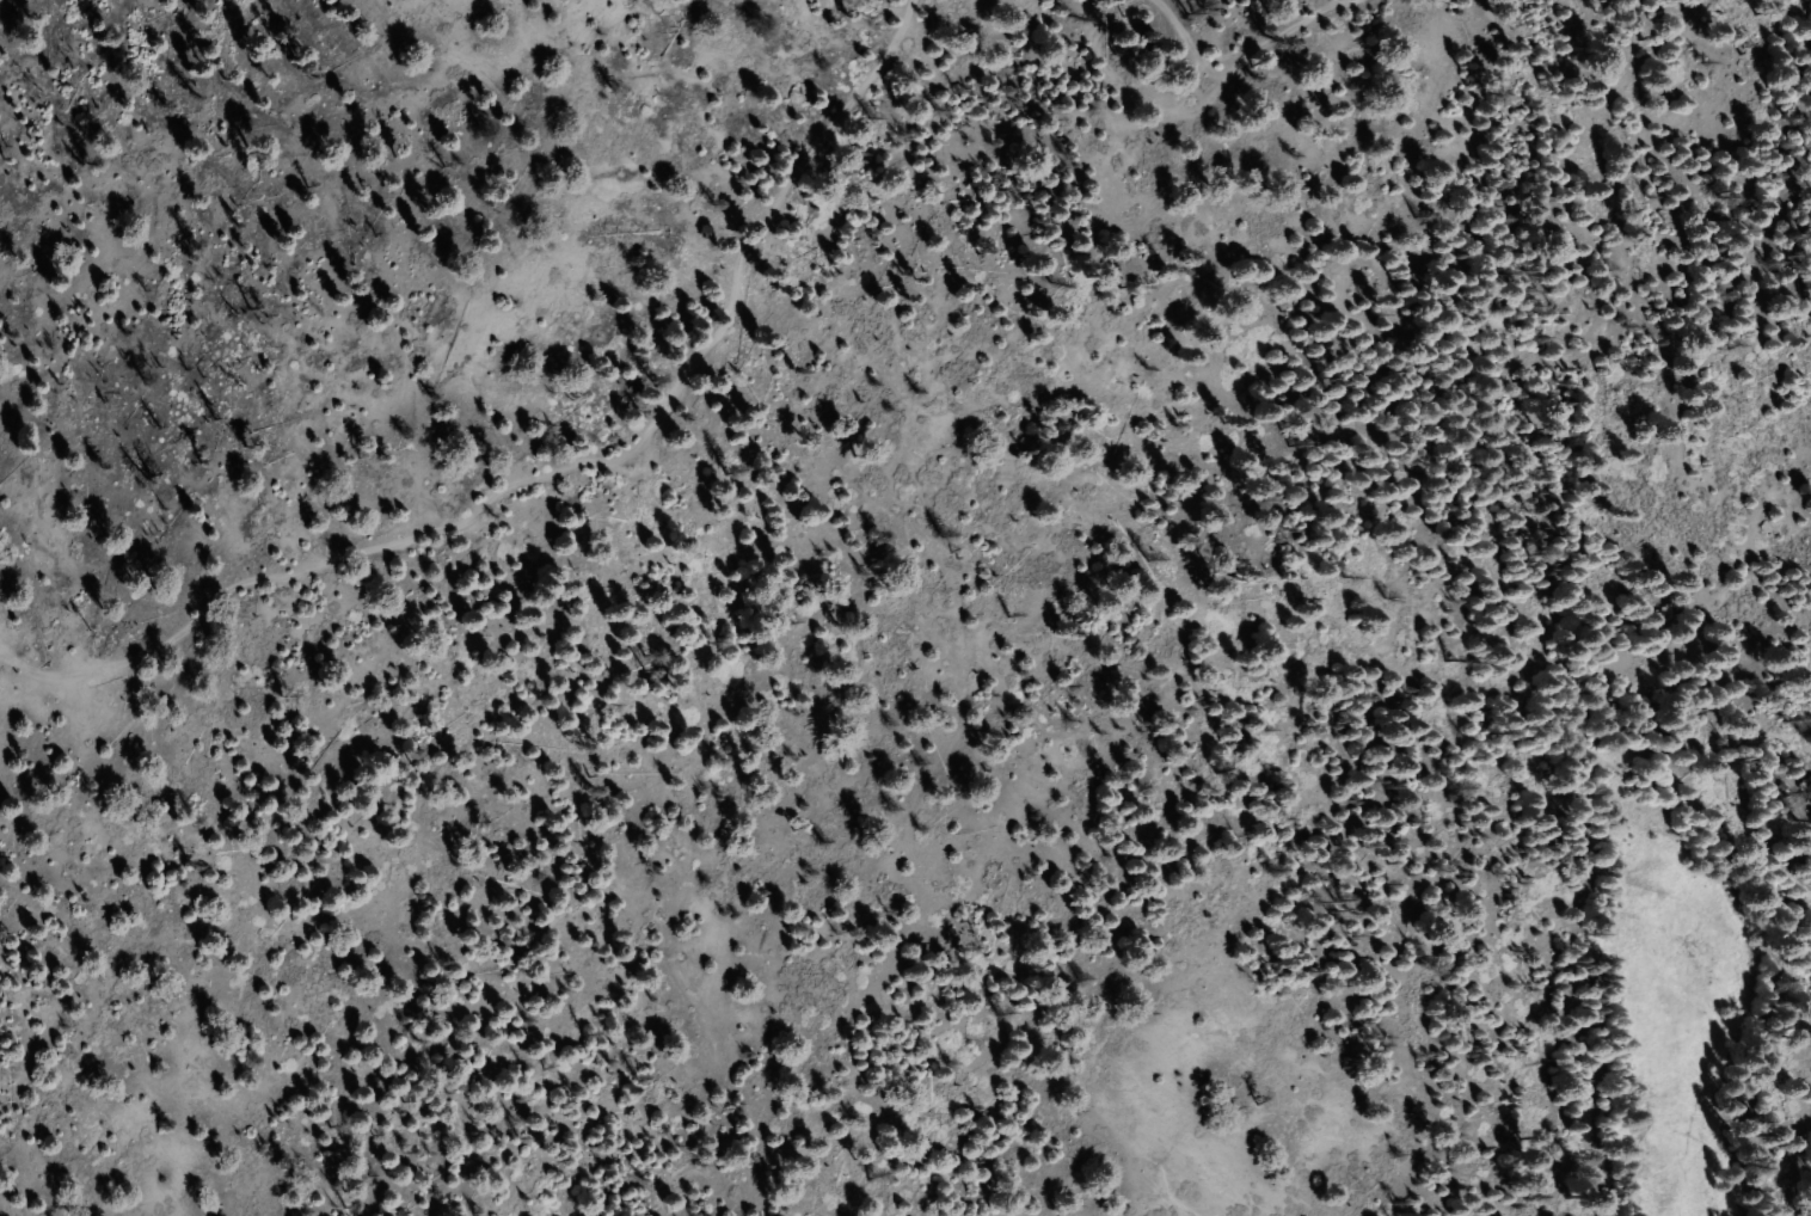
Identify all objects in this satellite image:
road: (1246, 47)
building: (954, 172)
road: (560, 471)
building: (1516, 615)
building: (1503, 706)

